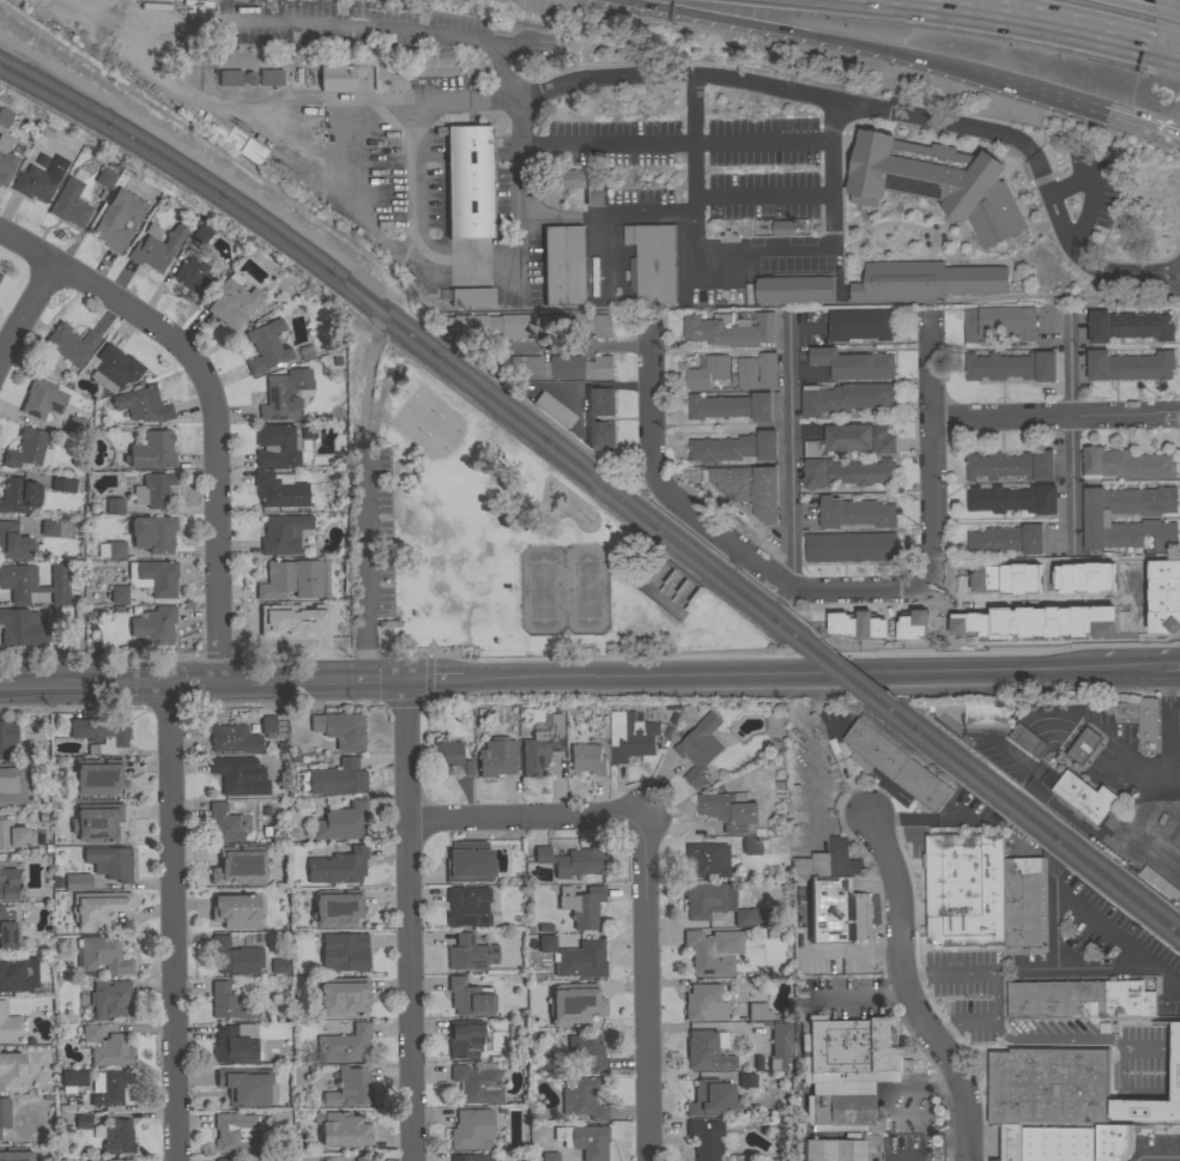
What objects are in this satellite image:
building: (165, 0)
building: (196, 2)
road: (1169, 2)
building: (155, 6)
road: (1023, 19)
road: (793, 34)
road: (1168, 54)
building: (229, 78)
building: (270, 78)
road: (726, 78)
building: (335, 79)
road: (984, 81)
road: (1051, 99)
building: (5, 117)
road: (1140, 126)
building: (232, 138)
building: (252, 151)
building: (5, 161)
building: (104, 177)
building: (561, 180)
building: (467, 181)
building: (936, 181)
building: (34, 183)
building: (593, 192)
building: (69, 204)
road: (611, 216)
building: (117, 219)
road: (1178, 222)
building: (782, 228)
road: (374, 234)
building: (200, 235)
building: (156, 247)
road: (751, 247)
road: (1179, 250)
building: (653, 261)
building: (562, 265)
building: (1, 270)
building: (193, 277)
building: (926, 280)
building: (794, 289)
building: (466, 297)
building: (231, 302)
road: (25, 307)
building: (1000, 322)
building: (860, 323)
building: (528, 325)
building: (1127, 325)
building: (730, 329)
railway: (418, 335)
building: (69, 344)
railway: (409, 344)
road: (576, 345)
building: (265, 346)
building: (854, 363)
building: (1010, 365)
building: (1128, 365)
building: (116, 367)
building: (553, 368)
building: (707, 371)
building: (746, 373)
building: (284, 395)
building: (845, 398)
building: (46, 399)
building: (143, 405)
road: (210, 405)
building: (731, 406)
building: (552, 411)
road: (1054, 415)
building: (591, 418)
building: (74, 425)
road: (1070, 428)
building: (852, 439)
building: (276, 446)
building: (734, 447)
building: (28, 449)
building: (151, 452)
road: (791, 454)
road: (930, 454)
building: (1127, 464)
building: (1011, 465)
building: (847, 472)
building: (62, 484)
building: (749, 486)
building: (152, 490)
building: (278, 490)
building: (14, 495)
building: (1013, 498)
building: (114, 506)
building: (855, 513)
building: (1097, 520)
building: (53, 527)
road: (715, 531)
building: (151, 533)
building: (282, 534)
building: (1006, 539)
building: (13, 543)
park: (501, 545)
building: (851, 546)
building: (111, 550)
road: (368, 573)
building: (158, 578)
building: (1078, 578)
building: (1000, 579)
building: (294, 580)
building: (34, 582)
park: (563, 592)
building: (119, 594)
building: (1160, 597)
road: (1025, 600)
building: (75, 622)
building: (1031, 622)
building: (272, 623)
building: (855, 624)
building: (153, 625)
building: (908, 625)
building: (22, 629)
road: (1161, 666)
railway: (831, 671)
railway: (849, 671)
road: (571, 678)
traffic signals: (401, 682)
road: (424, 700)
building: (973, 714)
building: (1139, 720)
building: (267, 725)
building: (277, 728)
building: (340, 730)
building: (101, 736)
building: (631, 736)
building: (6, 738)
building: (232, 739)
building: (1028, 739)
building: (1084, 745)
building: (876, 746)
building: (540, 748)
building: (700, 748)
building: (496, 757)
building: (450, 758)
building: (587, 758)
building: (231, 774)
building: (96, 778)
building: (6, 779)
building: (334, 779)
building: (922, 781)
road: (1174, 782)
road: (1166, 785)
building: (794, 796)
building: (1082, 799)
building: (730, 810)
railway: (1030, 810)
road: (524, 817)
railway: (1022, 818)
building: (341, 822)
building: (96, 823)
building: (225, 823)
road: (676, 829)
building: (14, 835)
building: (751, 846)
building: (823, 859)
building: (571, 860)
building: (706, 860)
building: (109, 863)
building: (468, 863)
building: (238, 866)
building: (338, 867)
building: (77, 882)
building: (7, 884)
building: (963, 888)
building: (1022, 901)
road: (1073, 905)
building: (466, 906)
building: (581, 906)
building: (722, 906)
building: (349, 908)
building: (97, 909)
building: (835, 909)
building: (235, 912)
road: (405, 921)
road: (170, 923)
building: (7, 931)
building: (546, 944)
building: (713, 951)
building: (343, 953)
road: (821, 953)
building: (470, 954)
building: (102, 956)
building: (234, 957)
building: (588, 960)
road: (1101, 965)
building: (278, 967)
building: (17, 973)
road: (994, 987)
road: (645, 988)
road: (904, 991)
building: (343, 997)
building: (468, 997)
building: (1079, 998)
building: (110, 999)
building: (228, 1003)
building: (704, 1003)
building: (573, 1004)
building: (761, 1012)
building: (8, 1026)
building: (514, 1032)
building: (90, 1033)
building: (464, 1038)
road: (1073, 1041)
building: (235, 1044)
road: (1170, 1045)
building: (344, 1046)
building: (780, 1046)
building: (851, 1047)
building: (707, 1051)
building: (111, 1052)
building: (586, 1052)
building: (12, 1072)
building: (73, 1078)
building: (746, 1081)
building: (477, 1084)
building: (1048, 1084)
building: (109, 1087)
building: (349, 1088)
road: (1122, 1088)
building: (226, 1089)
building: (581, 1099)
building: (710, 1099)
building: (843, 1099)
road: (1172, 1099)
building: (4, 1113)
building: (81, 1120)
building: (471, 1130)
building: (344, 1131)
building: (236, 1133)
building: (116, 1137)
building: (704, 1138)
building: (583, 1141)
building: (1115, 1141)
building: (1010, 1142)
building: (1058, 1143)
building: (833, 1150)
road: (886, 1151)
building: (17, 1156)
building: (549, 1156)
building: (474, 1157)
building: (740, 1157)
building: (906, 1157)
building: (362, 1159)
building: (109, 1160)
building: (223, 1160)

